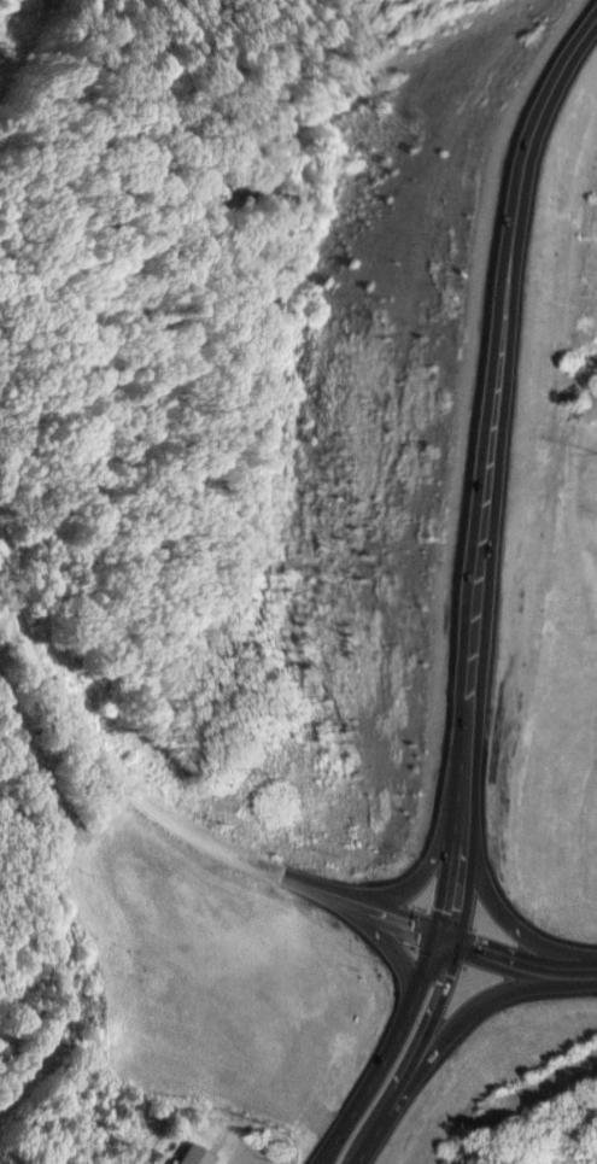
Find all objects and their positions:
road: (501, 482)
road: (146, 807)
road: (429, 877)
road: (509, 907)
traffic signals: (455, 937)
road: (397, 959)
road: (522, 966)
road: (484, 1005)
road: (386, 1051)
road: (414, 1055)
building: (189, 1156)

